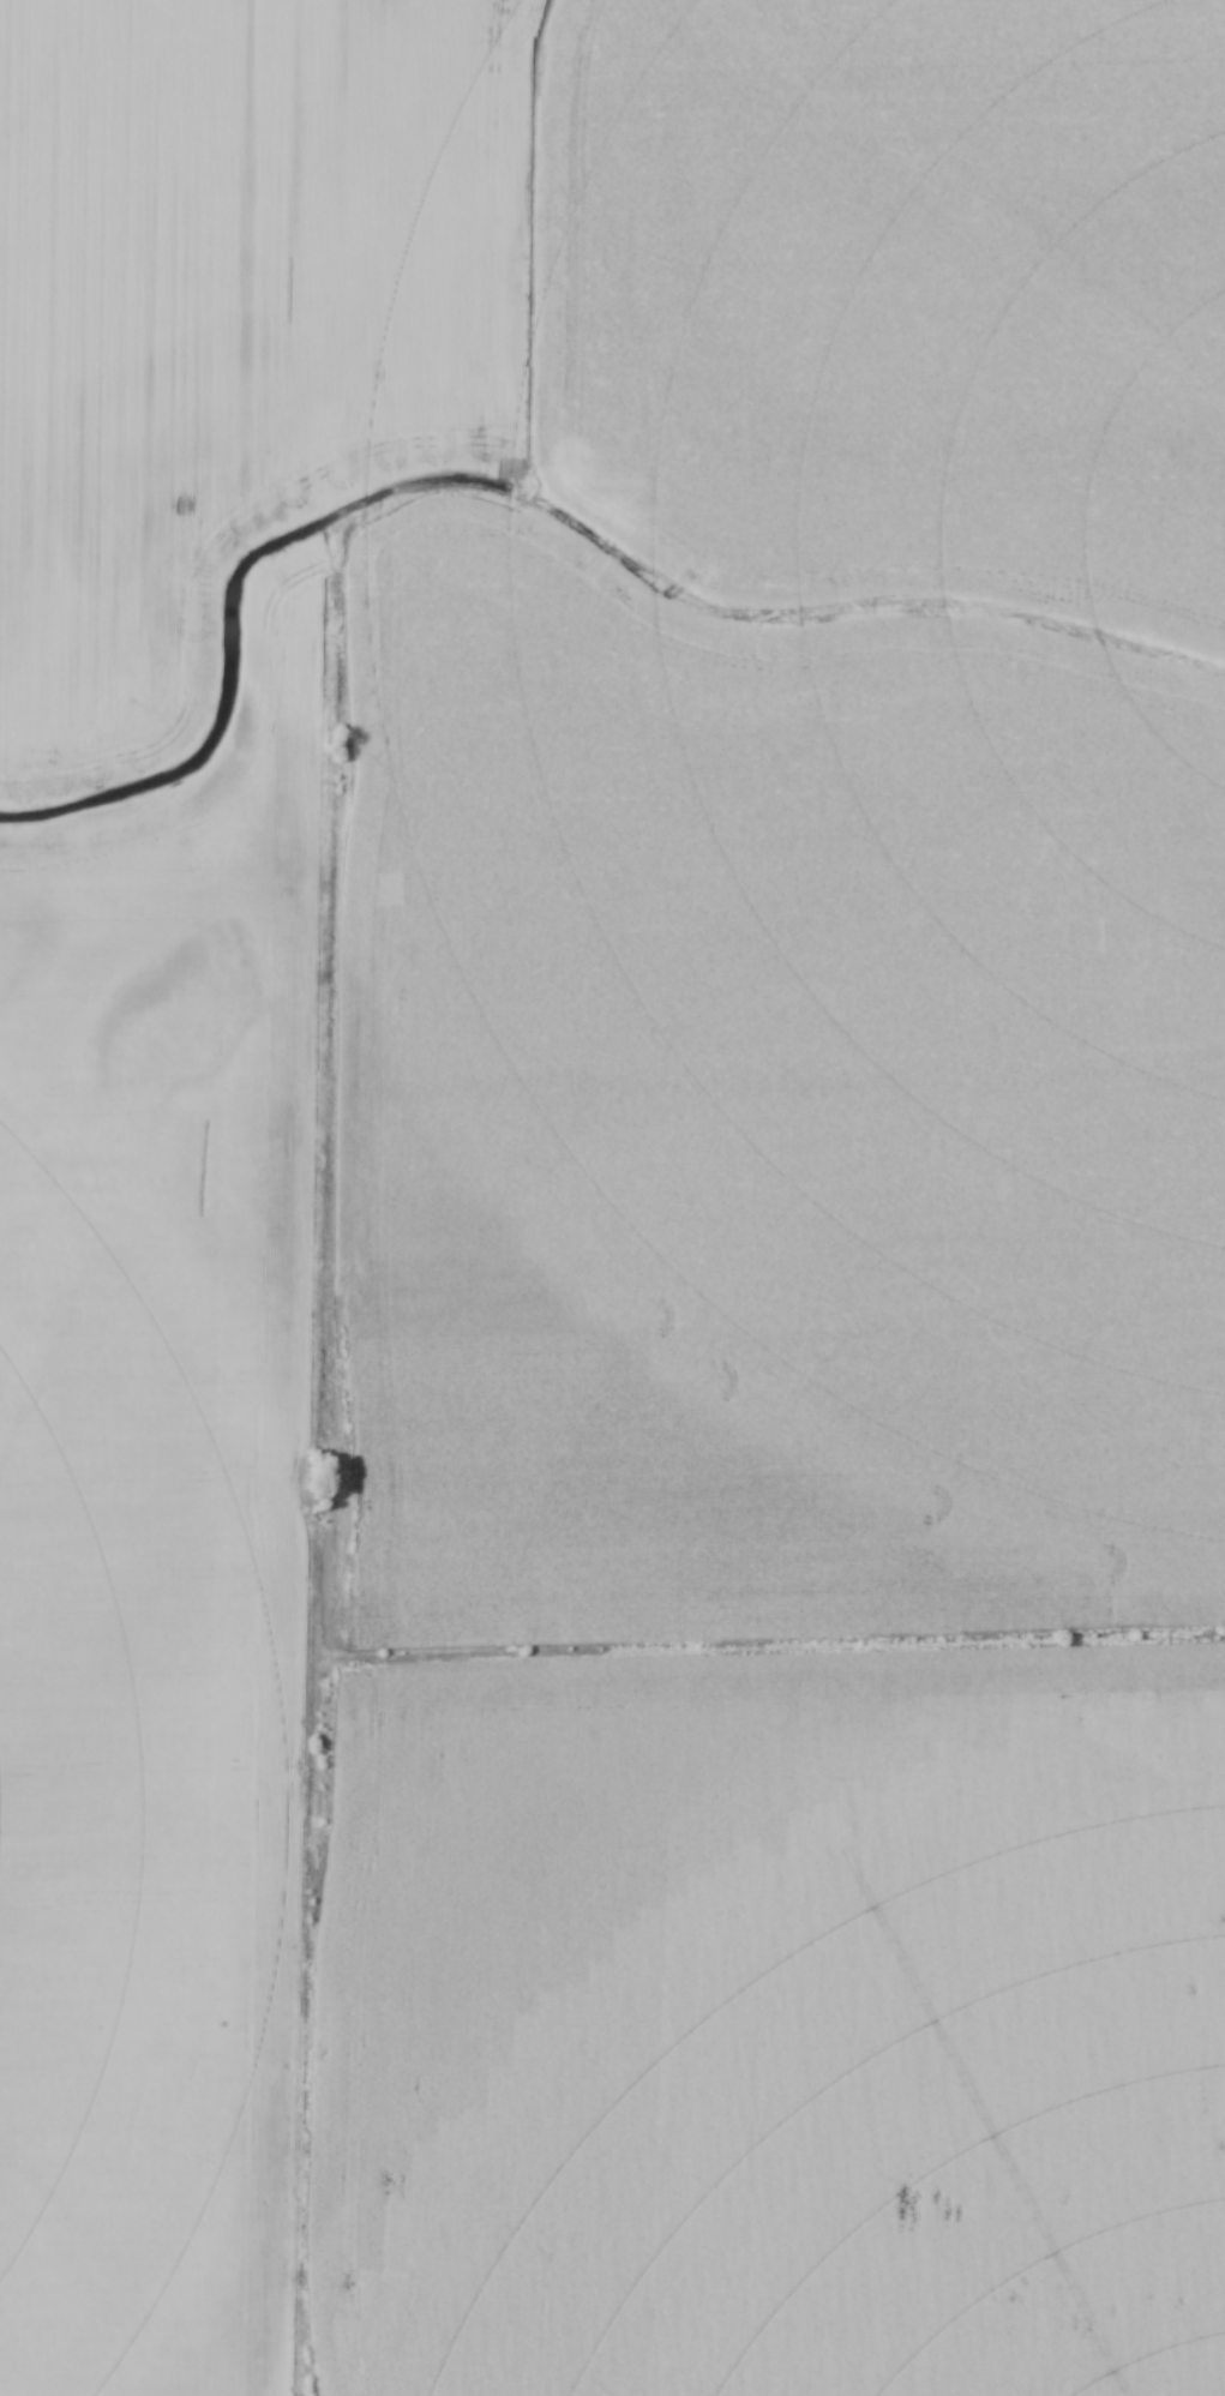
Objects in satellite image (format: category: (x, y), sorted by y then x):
crop: (155, 1548)

